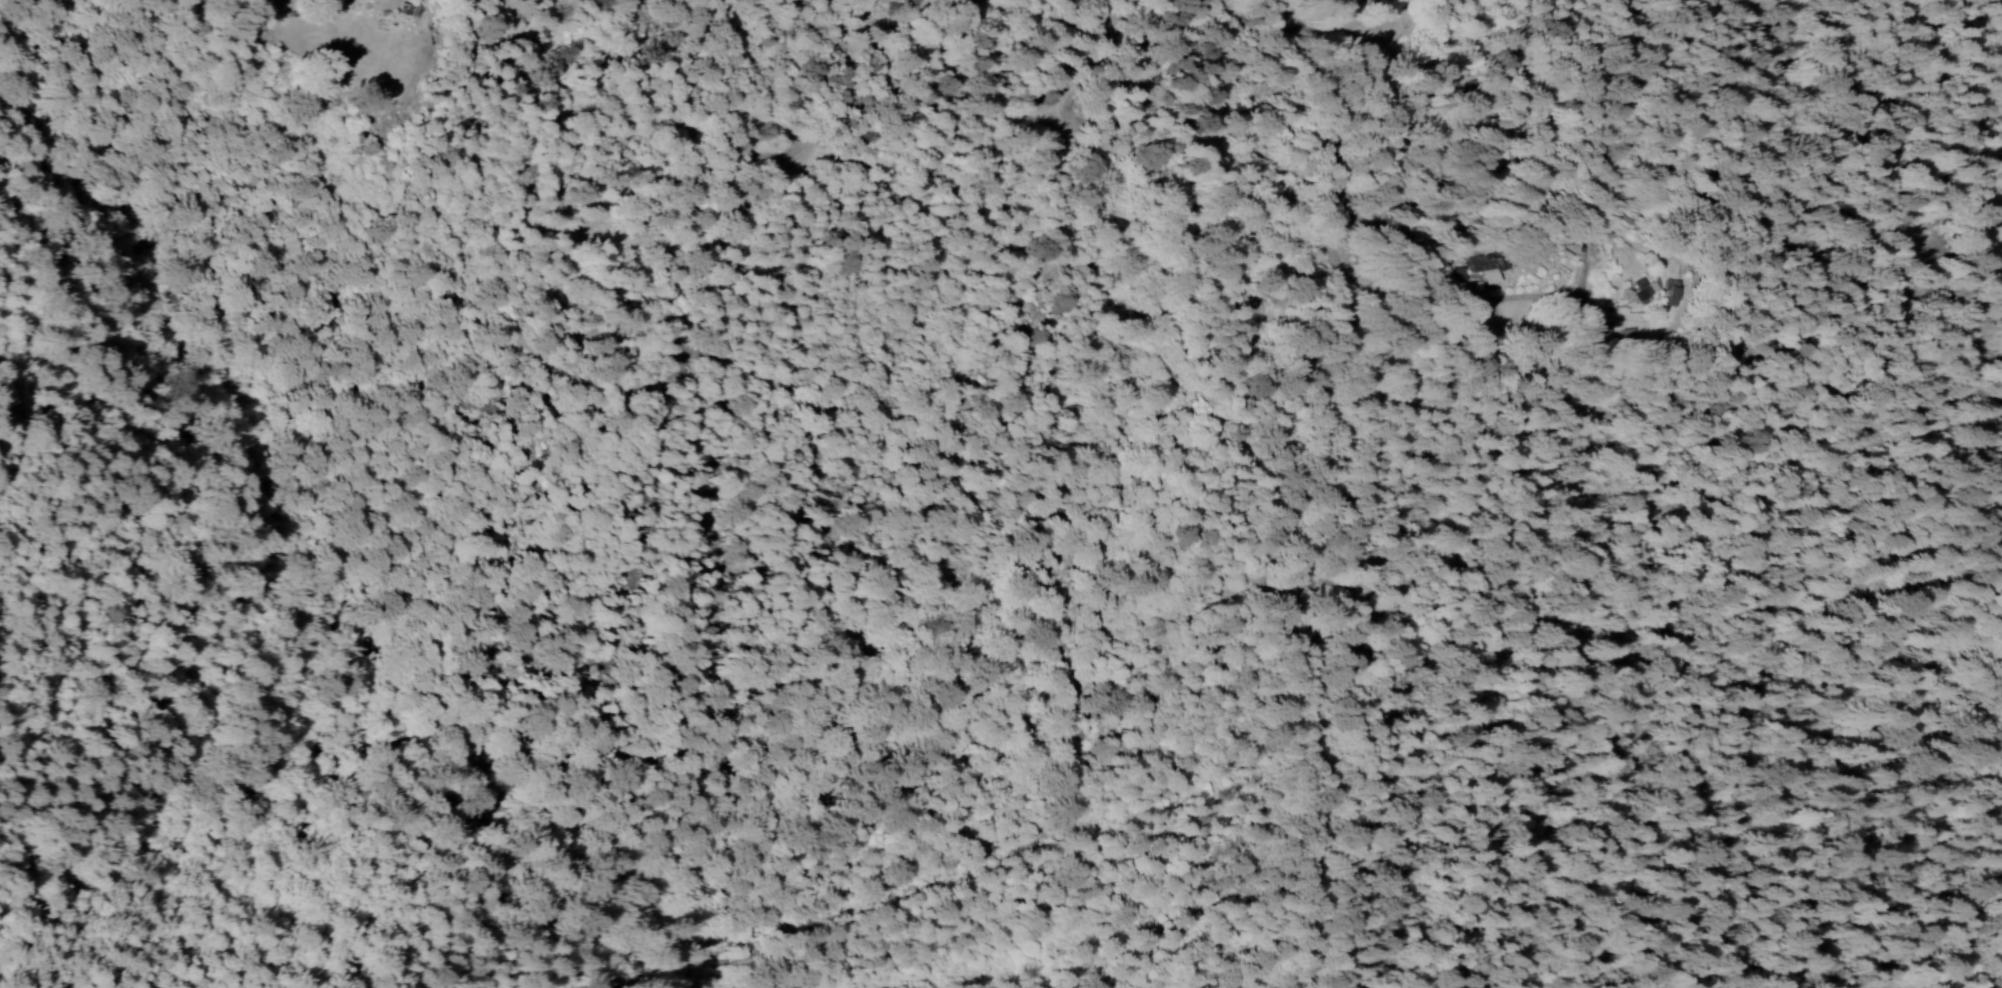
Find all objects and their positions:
building: (1488, 267)
building: (1463, 273)
building: (1644, 290)
building: (1675, 292)
building: (1607, 331)
road: (1320, 457)

